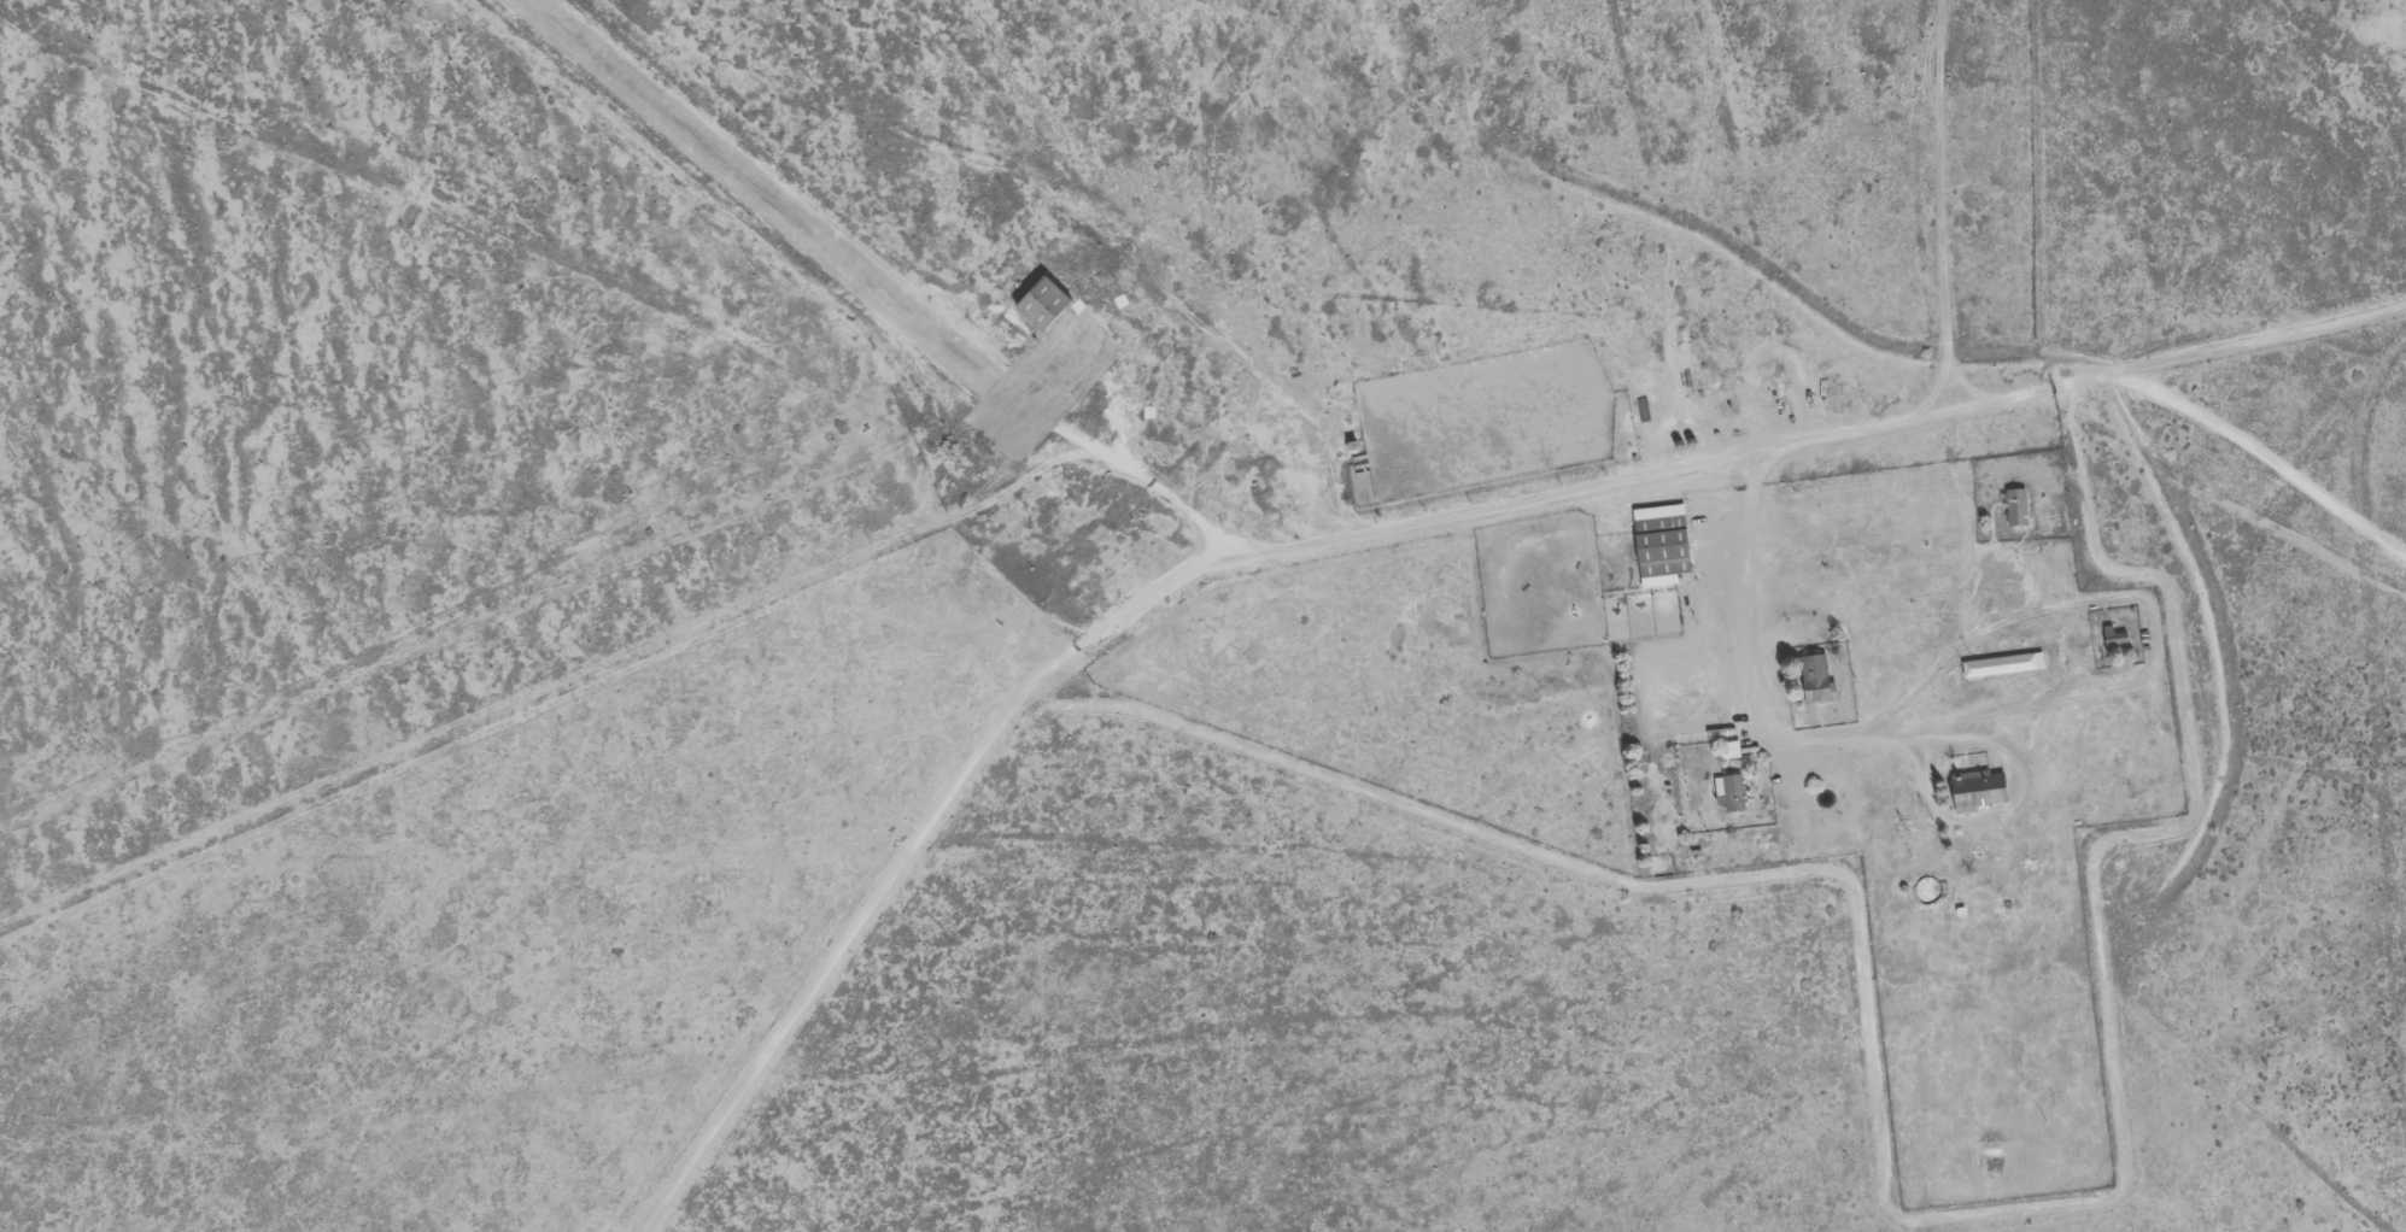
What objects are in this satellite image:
airport runway: (765, 190)
road: (1995, 241)
building: (1038, 301)
road: (552, 306)
building: (2014, 506)
building: (1658, 539)
road: (1405, 561)
road: (2211, 574)
road: (1809, 616)
building: (2113, 640)
building: (2001, 665)
building: (1813, 679)
road: (1563, 712)
building: (1975, 791)
building: (1728, 792)
road: (2389, 796)
road: (2373, 846)

